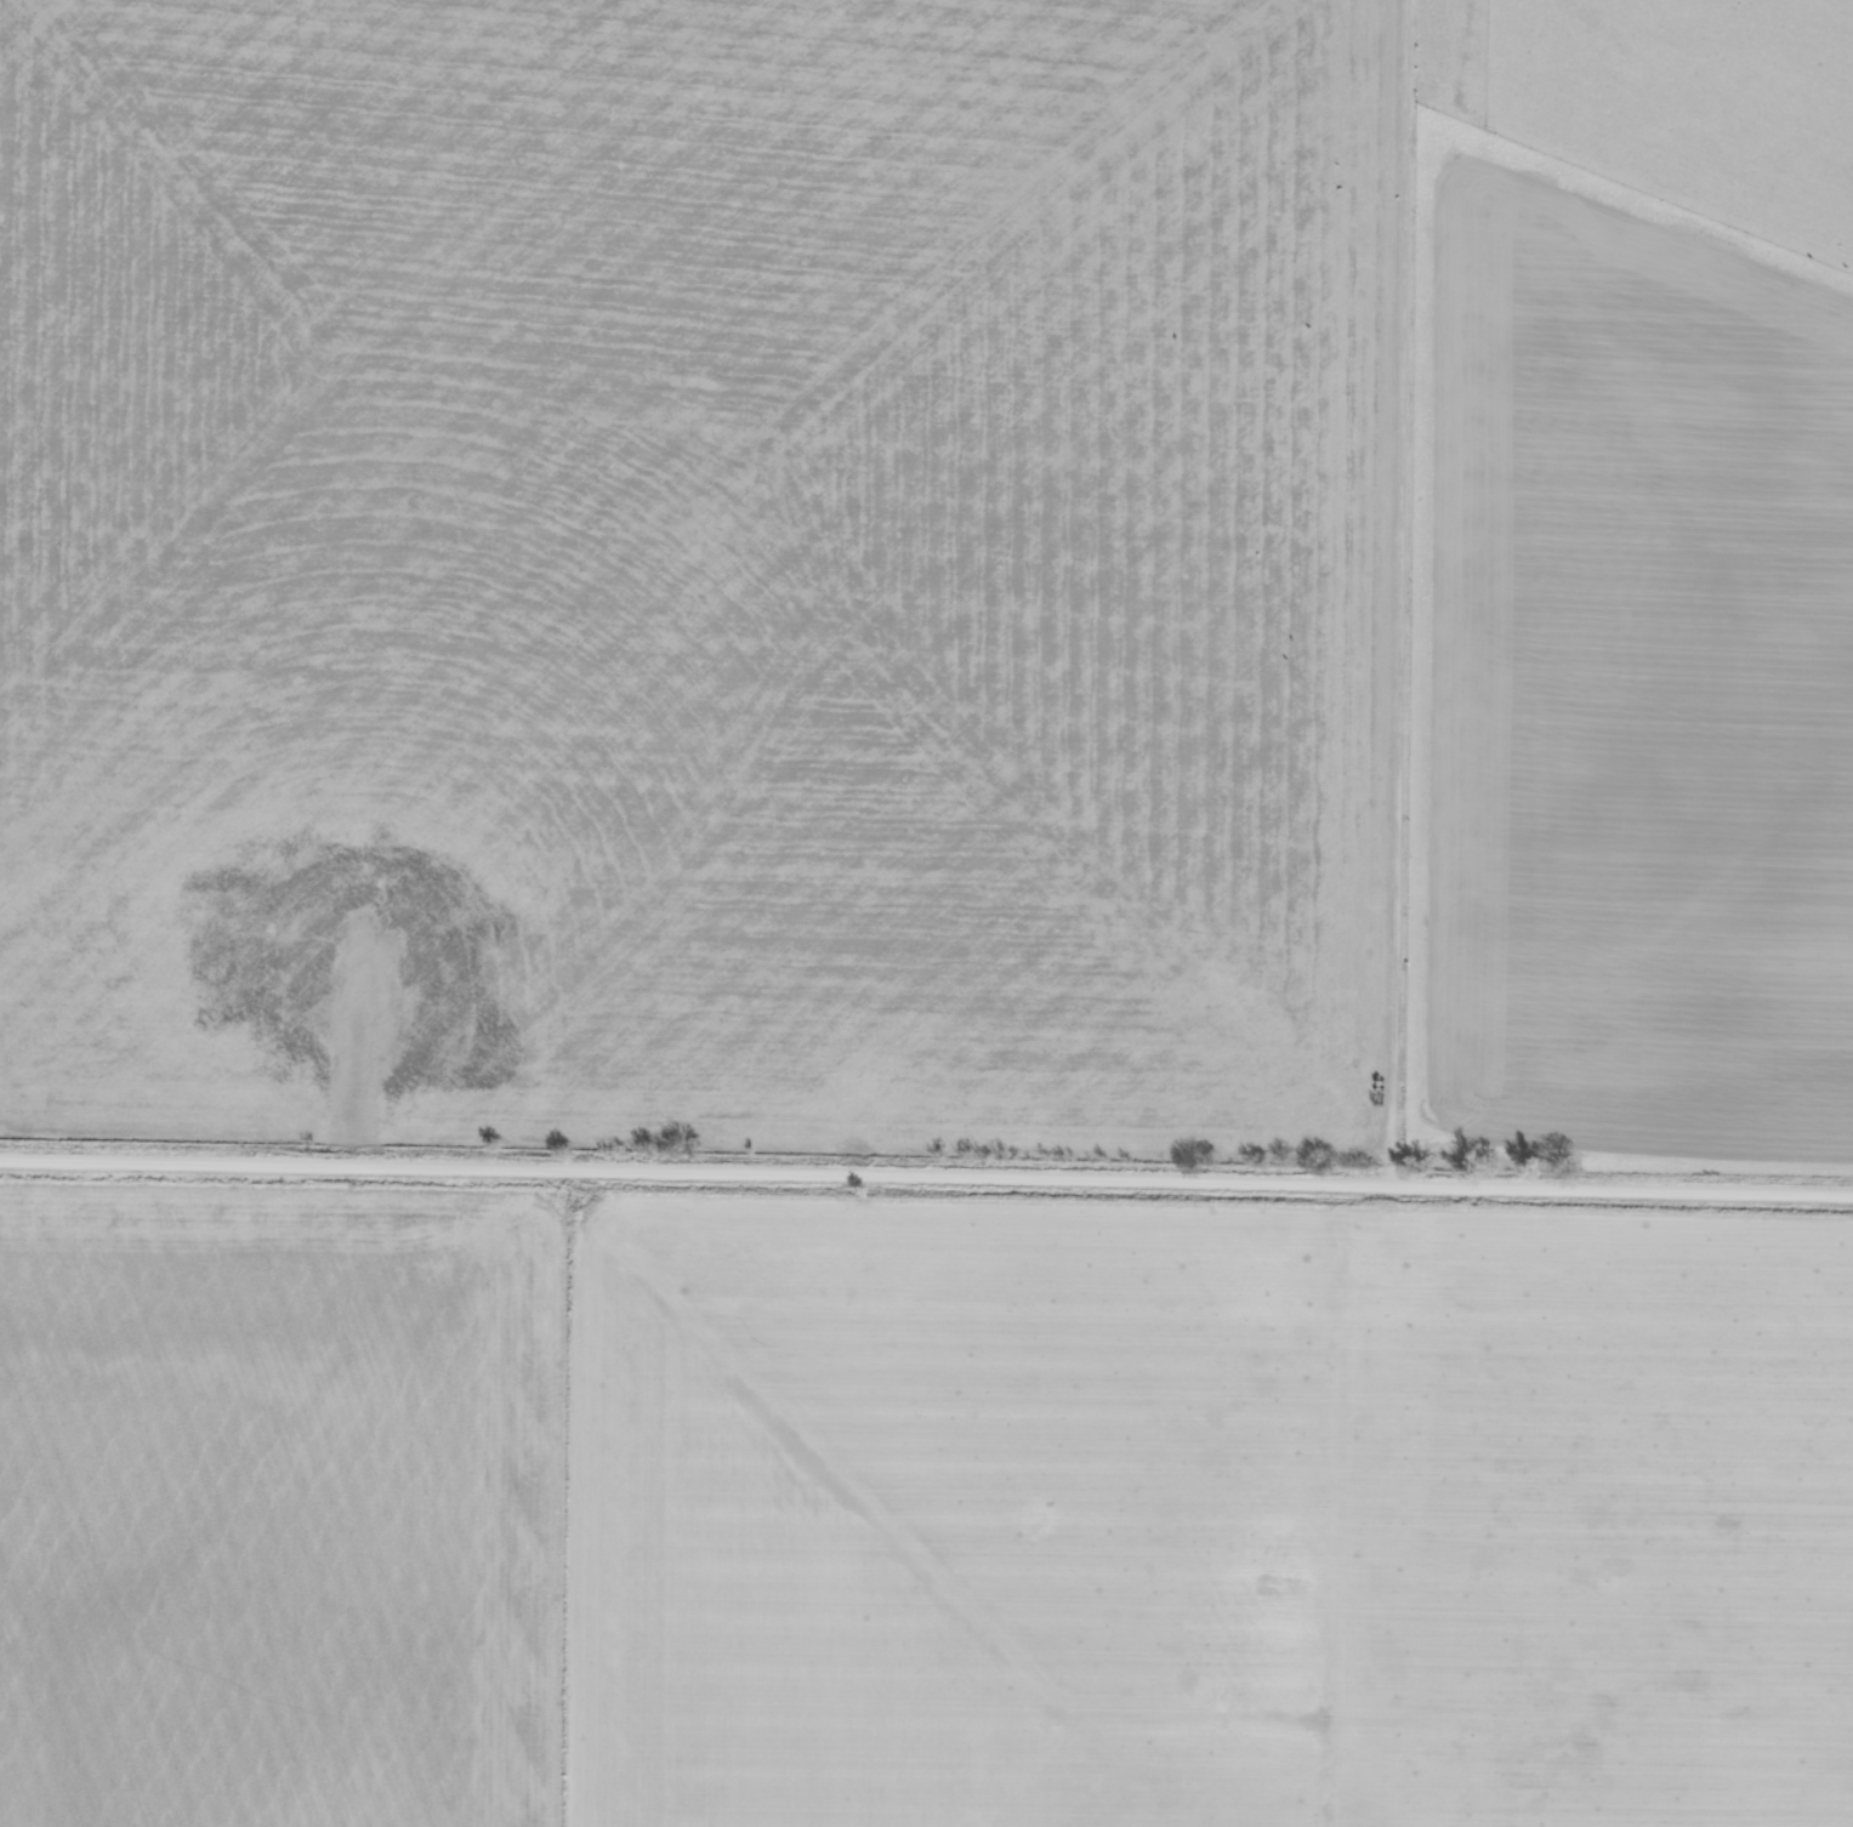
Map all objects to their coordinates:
road: (1411, 594)
road: (926, 1180)

